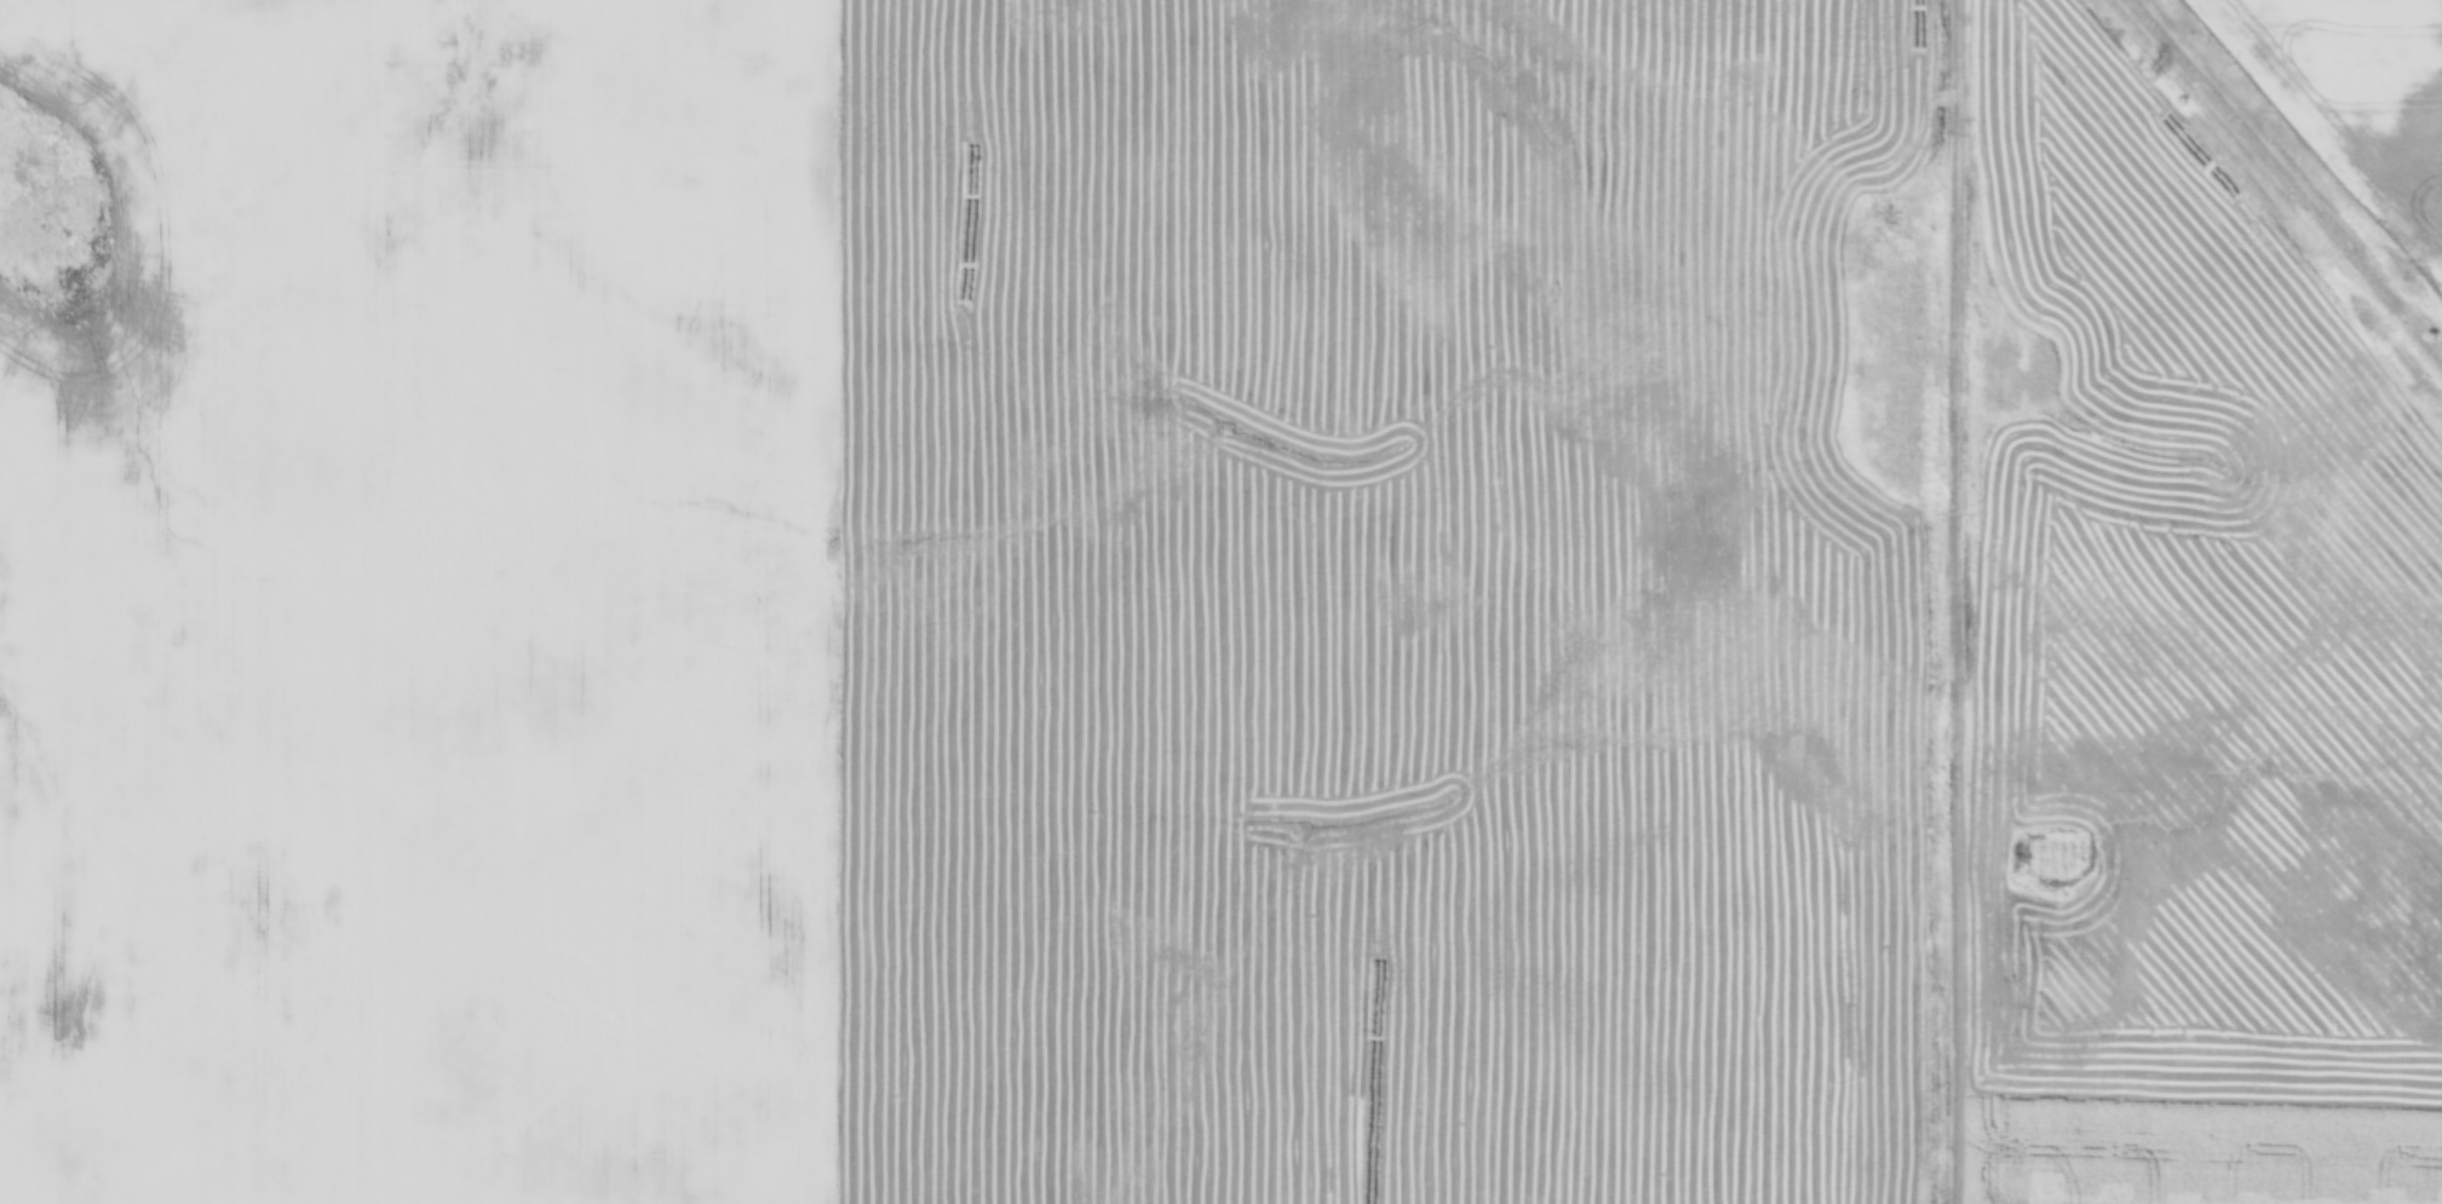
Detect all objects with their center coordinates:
road: (1959, 601)

